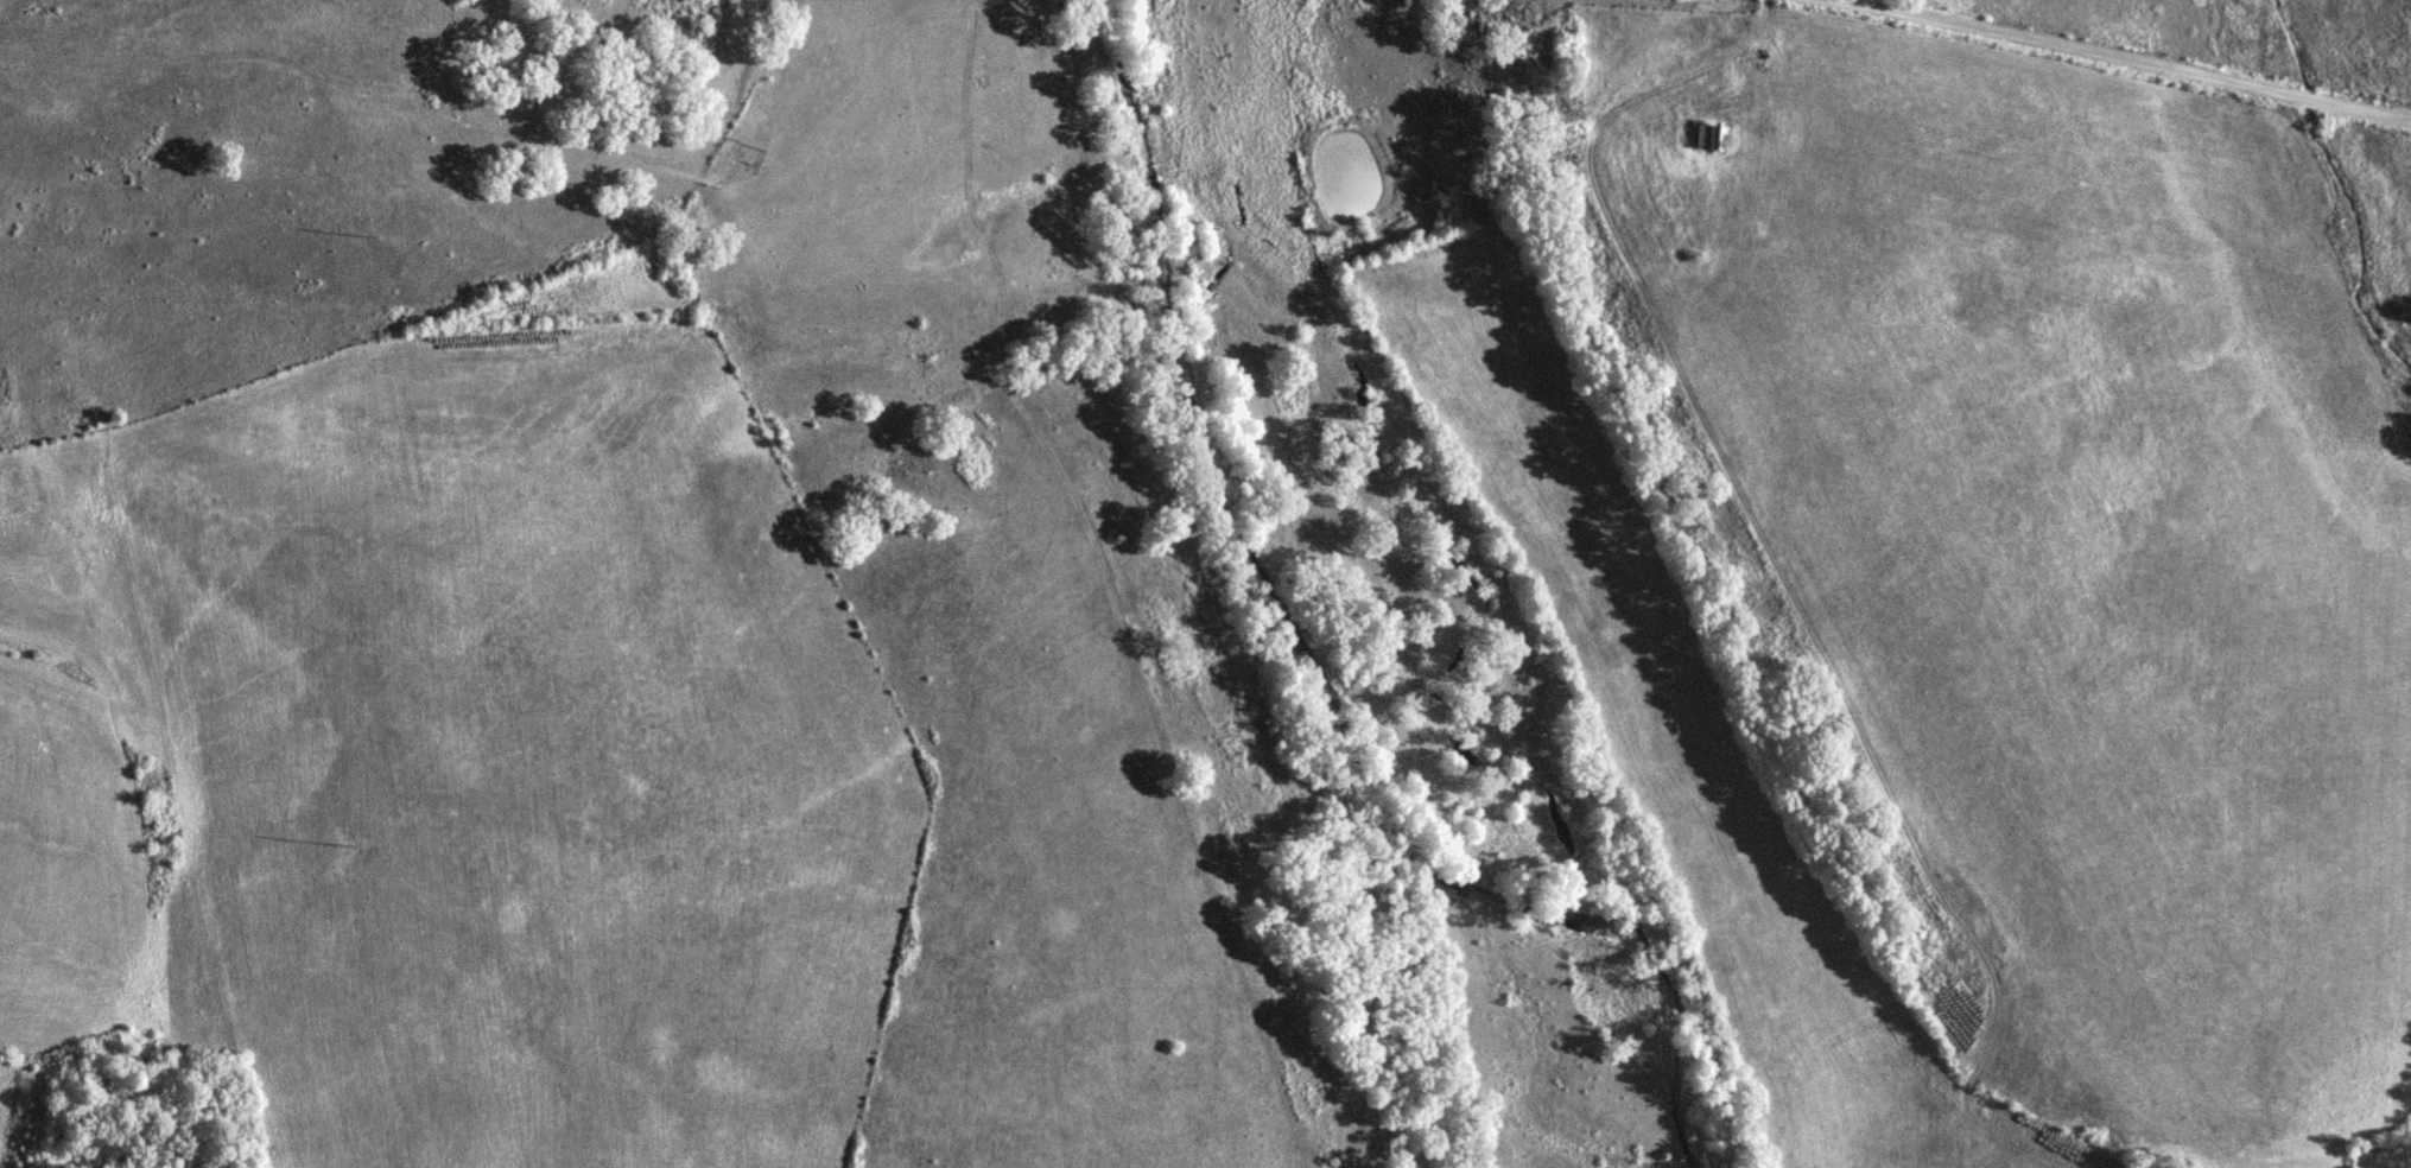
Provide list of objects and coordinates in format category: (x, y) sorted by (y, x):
road: (2119, 55)
building: (1713, 139)

